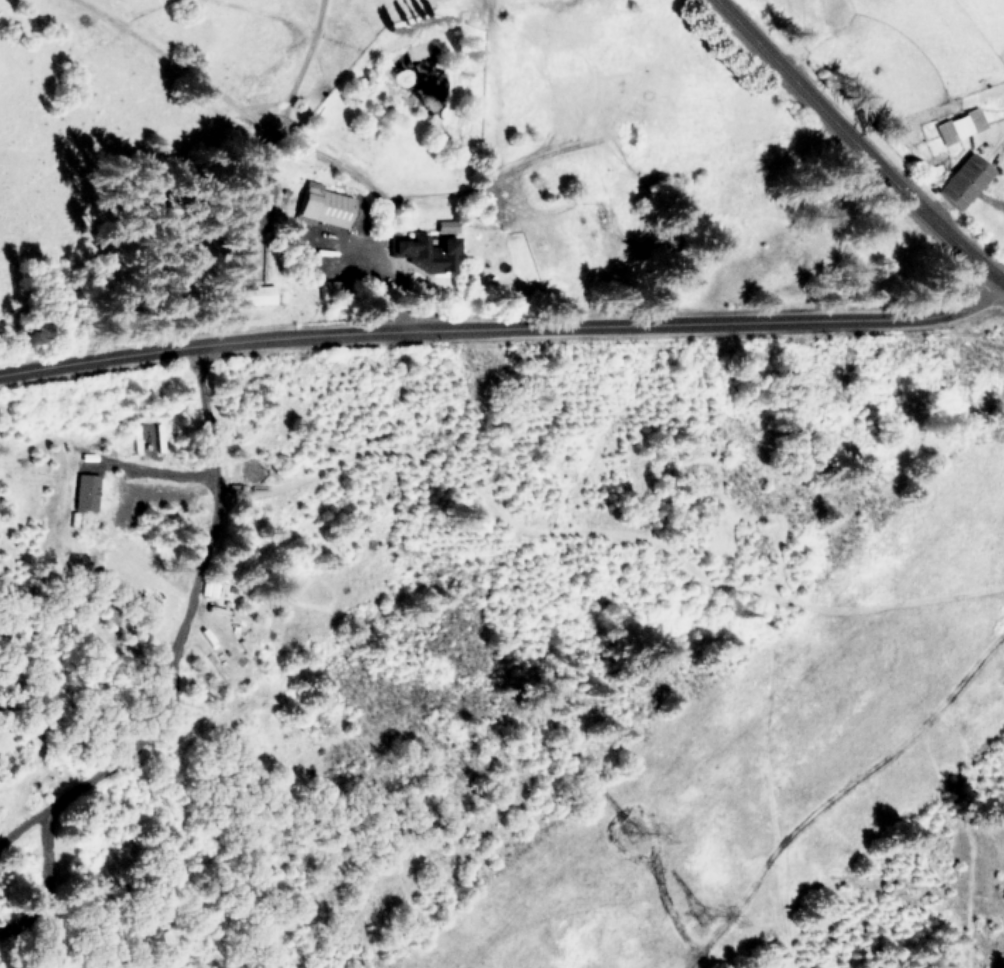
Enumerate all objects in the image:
crop: (933, 75)
building: (961, 125)
road: (858, 144)
building: (966, 179)
building: (325, 206)
building: (424, 251)
building: (335, 287)
building: (254, 294)
road: (503, 333)
road: (213, 469)
building: (86, 491)
road: (839, 795)
power tower: (641, 828)
power tower: (714, 913)

